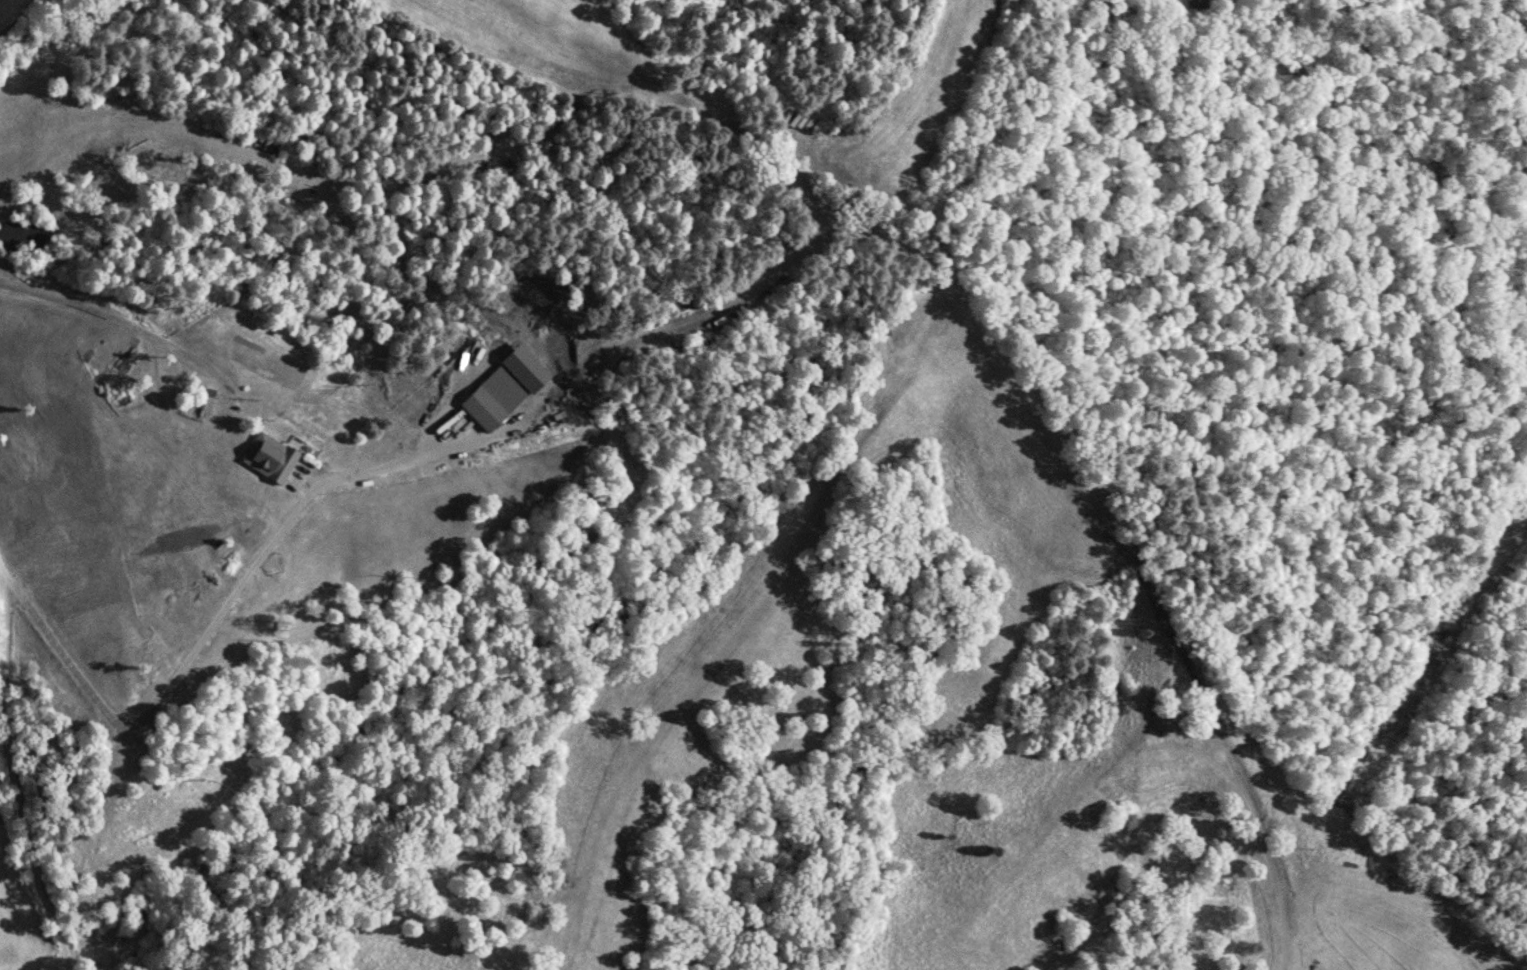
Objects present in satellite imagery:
building: (497, 399)
road: (26, 851)

